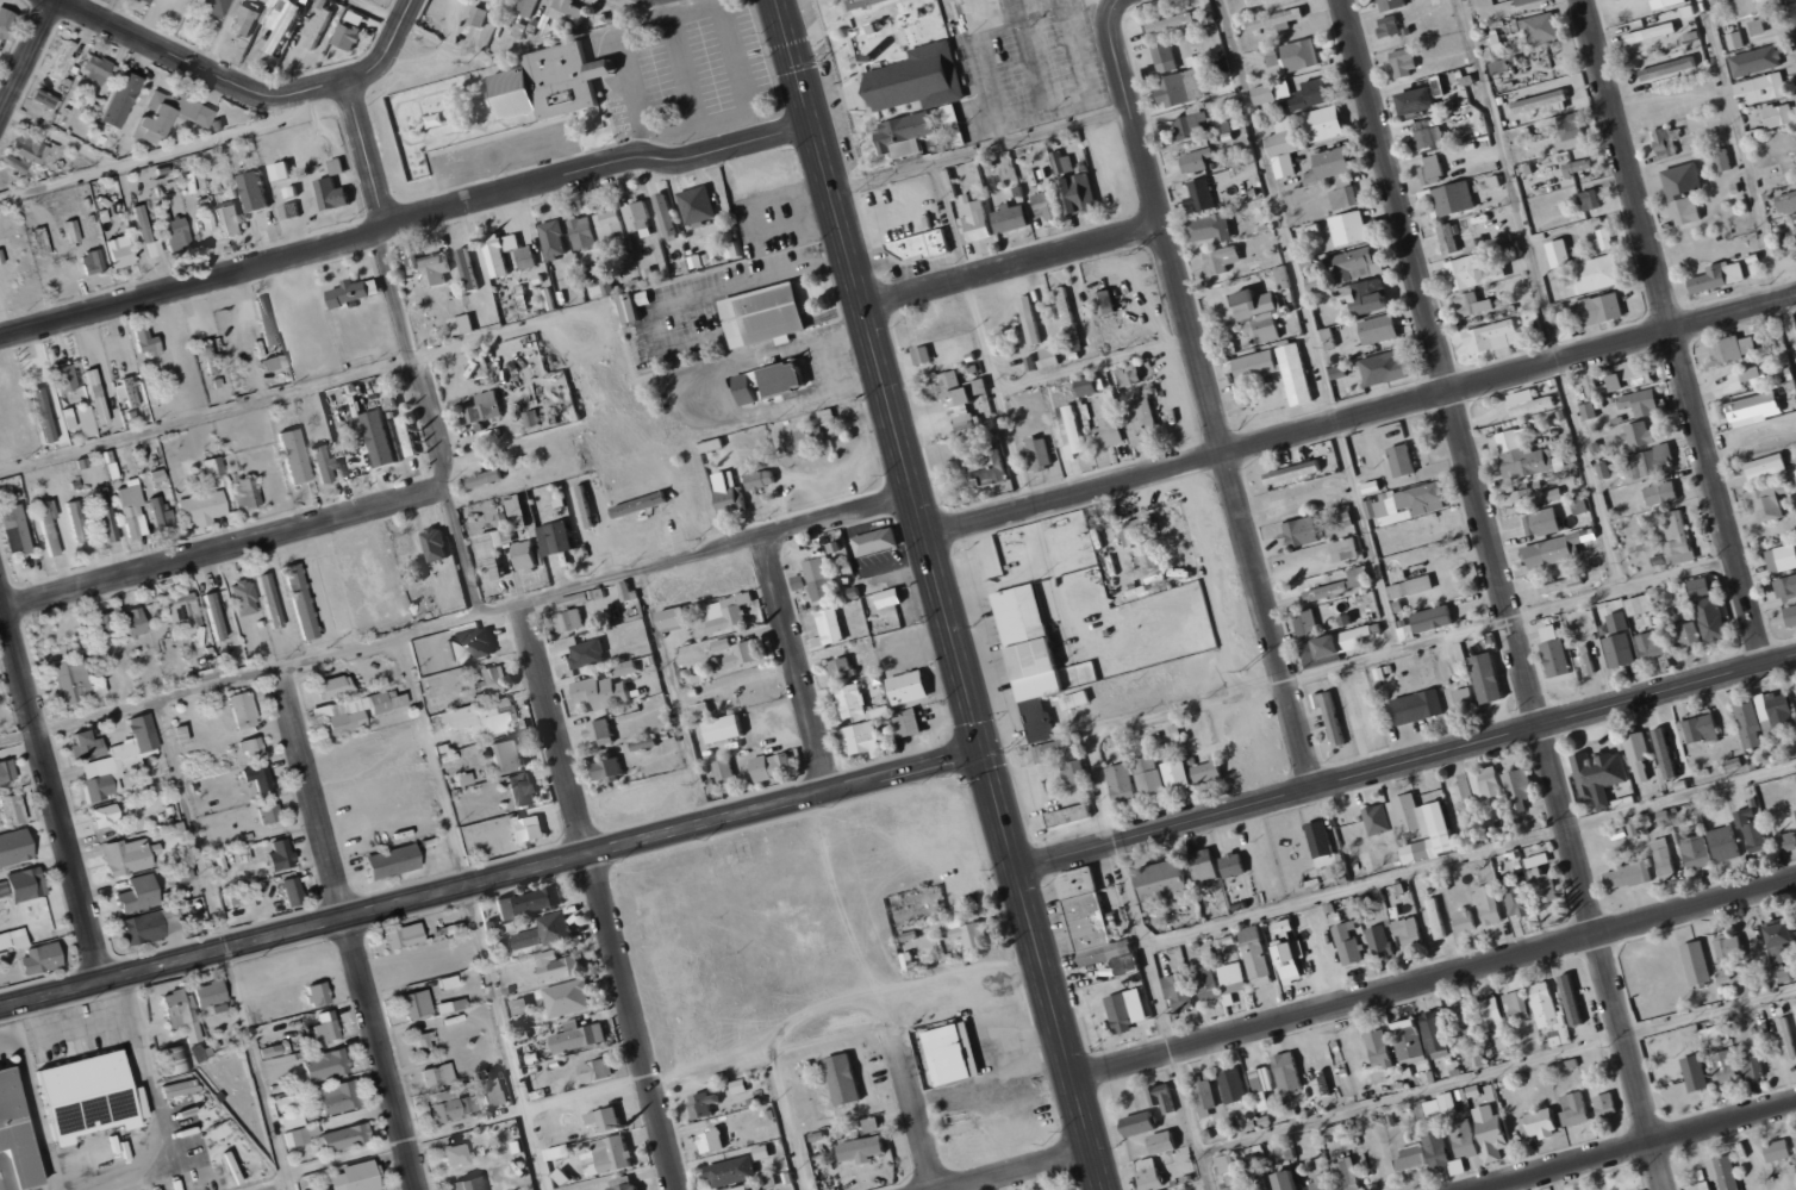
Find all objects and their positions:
building: (148, 0)
building: (1261, 1)
building: (1526, 1)
building: (1669, 2)
building: (860, 4)
building: (1392, 4)
building: (213, 6)
building: (528, 6)
building: (1752, 6)
building: (570, 12)
building: (479, 15)
building: (357, 18)
road: (1114, 19)
building: (1278, 19)
building: (245, 20)
building: (6, 21)
building: (1173, 21)
building: (280, 23)
building: (1390, 25)
building: (1759, 26)
building: (1541, 27)
building: (320, 29)
building: (1651, 32)
building: (348, 37)
building: (1735, 41)
road: (166, 48)
building: (1302, 54)
building: (1165, 56)
road: (29, 60)
building: (63, 60)
building: (1405, 61)
building: (1757, 61)
building: (1501, 67)
building: (1670, 68)
building: (96, 69)
road: (735, 70)
road: (686, 76)
road: (363, 77)
building: (919, 79)
building: (554, 83)
building: (1760, 87)
building: (1183, 88)
building: (1271, 92)
building: (1314, 93)
building: (44, 99)
building: (121, 99)
building: (1417, 100)
building: (1544, 101)
building: (1778, 114)
building: (169, 116)
building: (1324, 123)
building: (955, 125)
building: (1190, 125)
building: (1571, 131)
building: (906, 133)
building: (1430, 138)
building: (1665, 142)
building: (29, 148)
building: (1284, 148)
road: (368, 155)
building: (1197, 160)
building: (1723, 160)
building: (1064, 162)
building: (15, 163)
building: (1330, 164)
building: (1579, 167)
building: (337, 168)
building: (1433, 169)
building: (281, 172)
building: (255, 192)
building: (1684, 192)
building: (1081, 193)
building: (1201, 193)
building: (1345, 194)
building: (332, 195)
building: (1453, 199)
building: (1591, 200)
building: (1788, 203)
building: (1049, 204)
building: (698, 205)
building: (205, 210)
building: (289, 211)
building: (665, 213)
building: (1012, 217)
building: (638, 219)
building: (975, 219)
road: (406, 220)
building: (230, 222)
building: (610, 223)
building: (1211, 228)
building: (1349, 228)
building: (175, 231)
building: (584, 233)
building: (146, 235)
building: (1452, 238)
building: (1605, 238)
building: (554, 239)
building: (921, 245)
building: (120, 251)
building: (500, 251)
power tower: (1131, 253)
building: (1560, 253)
building: (526, 257)
building: (1223, 258)
building: (92, 262)
building: (1357, 263)
road: (1014, 267)
building: (431, 268)
building: (466, 269)
building: (1470, 270)
building: (1598, 274)
building: (1721, 276)
building: (591, 287)
building: (607, 287)
building: (353, 293)
building: (1366, 297)
building: (1106, 303)
building: (1474, 304)
building: (636, 305)
building: (1598, 310)
building: (1067, 311)
building: (767, 314)
building: (1259, 314)
building: (1031, 319)
building: (266, 320)
building: (1380, 329)
road: (1675, 331)
building: (1493, 336)
building: (1329, 337)
building: (146, 341)
building: (1734, 348)
building: (923, 355)
building: (1049, 356)
building: (210, 357)
building: (275, 361)
building: (1253, 365)
building: (1396, 366)
building: (1339, 372)
building: (1371, 372)
building: (1295, 373)
building: (1130, 374)
building: (1634, 374)
building: (64, 376)
building: (239, 376)
building: (785, 378)
building: (1750, 378)
building: (1091, 385)
building: (749, 386)
building: (1594, 386)
building: (126, 391)
building: (96, 395)
building: (964, 399)
building: (1530, 401)
building: (1642, 403)
building: (486, 407)
building: (1757, 409)
building: (1589, 411)
building: (46, 413)
road: (1215, 415)
building: (829, 416)
road: (1360, 416)
building: (532, 418)
building: (1146, 419)
road: (429, 423)
building: (1073, 432)
building: (1109, 432)
building: (407, 435)
building: (1640, 435)
building: (812, 437)
building: (380, 438)
building: (1037, 454)
building: (294, 455)
building: (981, 455)
building: (1522, 456)
building: (1403, 460)
building: (324, 463)
building: (1650, 463)
building: (213, 467)
building: (1767, 467)
building: (1295, 472)
building: (485, 478)
building: (762, 479)
building: (245, 492)
building: (729, 492)
building: (1661, 492)
building: (1535, 497)
building: (1769, 500)
building: (1408, 503)
building: (585, 506)
building: (202, 507)
building: (131, 509)
building: (517, 511)
building: (105, 513)
building: (160, 515)
building: (76, 521)
building: (1542, 523)
building: (48, 528)
building: (14, 529)
building: (1303, 531)
building: (1140, 532)
building: (556, 537)
building: (1678, 538)
building: (877, 542)
building: (435, 544)
building: (495, 548)
building: (1345, 549)
road: (223, 550)
road: (718, 550)
building: (1549, 552)
building: (526, 556)
building: (1150, 557)
building: (1782, 559)
building: (819, 579)
building: (800, 582)
building: (1343, 585)
building: (1701, 586)
building: (1411, 587)
building: (628, 591)
road: (942, 594)
road: (1507, 594)
building: (244, 597)
building: (891, 597)
building: (272, 600)
building: (301, 602)
building: (1642, 605)
building: (183, 608)
road: (501, 610)
building: (731, 612)
building: (569, 615)
building: (214, 616)
building: (1791, 616)
building: (1711, 618)
building: (675, 619)
building: (1434, 619)
building: (133, 622)
building: (104, 623)
building: (1307, 623)
building: (829, 629)
building: (1690, 634)
building: (1617, 641)
building: (1030, 642)
building: (721, 644)
building: (1333, 646)
building: (1555, 650)
building: (588, 654)
building: (743, 654)
building: (1586, 661)
road: (798, 666)
building: (625, 668)
building: (841, 669)
power tower: (1243, 671)
road: (241, 677)
building: (1489, 678)
building: (493, 680)
building: (75, 681)
building: (336, 686)
building: (910, 687)
building: (603, 692)
building: (1464, 698)
building: (1077, 699)
building: (858, 703)
building: (1417, 706)
building: (243, 709)
building: (357, 710)
building: (1366, 710)
building: (1775, 714)
building: (479, 717)
building: (1333, 717)
building: (1040, 719)
road: (1135, 719)
building: (910, 723)
building: (1748, 724)
building: (725, 729)
building: (1702, 729)
building: (599, 730)
building: (866, 739)
building: (644, 743)
building: (87, 744)
building: (252, 747)
building: (1052, 749)
building: (1665, 753)
building: (509, 754)
traffic signals: (985, 754)
building: (1639, 758)
building: (118, 759)
road: (1405, 762)
building: (772, 766)
building: (609, 767)
building: (724, 770)
building: (6, 772)
building: (1075, 772)
building: (1208, 772)
road: (909, 773)
building: (1177, 774)
building: (1149, 775)
building: (1598, 775)
building: (260, 777)
building: (1122, 783)
road: (52, 786)
building: (1520, 789)
building: (522, 790)
building: (1476, 792)
building: (13, 809)
building: (269, 814)
building: (105, 815)
building: (1070, 816)
building: (1378, 820)
building: (528, 828)
building: (1424, 828)
building: (1751, 829)
building: (1785, 842)
building: (1322, 843)
building: (1725, 843)
building: (15, 847)
building: (1697, 852)
building: (281, 854)
building: (129, 855)
building: (1665, 859)
building: (1538, 860)
building: (393, 861)
building: (1205, 865)
building: (1234, 865)
building: (177, 872)
building: (1628, 876)
building: (1165, 881)
building: (26, 884)
building: (1544, 884)
building: (4, 889)
building: (292, 891)
building: (138, 893)
building: (239, 895)
road: (598, 896)
building: (1519, 899)
road: (416, 901)
building: (529, 902)
building: (1489, 905)
building: (1090, 918)
building: (1436, 918)
building: (1466, 921)
building: (150, 924)
building: (1285, 927)
road: (347, 928)
building: (544, 932)
building: (1409, 932)
building: (969, 934)
building: (405, 935)
building: (13, 939)
building: (1782, 941)
building: (1379, 942)
building: (1348, 943)
building: (1729, 948)
building: (1256, 957)
building: (42, 958)
building: (1292, 960)
building: (1697, 964)
building: (1128, 965)
building: (556, 966)
building: (1723, 974)
building: (1234, 977)
road: (1434, 978)
building: (1208, 982)
building: (1180, 991)
building: (210, 993)
building: (319, 993)
building: (567, 997)
building: (1573, 1001)
building: (417, 1003)
building: (1517, 1005)
building: (181, 1013)
building: (1121, 1014)
building: (1549, 1014)
building: (1492, 1017)
building: (1461, 1022)
building: (326, 1027)
power tower: (1340, 1030)
building: (1435, 1034)
building: (579, 1036)
building: (1788, 1038)
road: (505, 1039)
building: (1409, 1040)
building: (423, 1041)
building: (1380, 1049)
building: (270, 1051)
building: (952, 1054)
building: (173, 1060)
building: (326, 1065)
building: (1752, 1066)
building: (1725, 1068)
building: (598, 1071)
building: (1289, 1072)
building: (1695, 1073)
building: (438, 1076)
building: (844, 1079)
building: (740, 1086)
building: (1234, 1086)
building: (1264, 1086)
building: (180, 1088)
building: (1205, 1094)
building: (493, 1095)
building: (92, 1097)
road: (151, 1097)
building: (339, 1097)
building: (1162, 1098)
building: (1447, 1102)
building: (1605, 1104)
building: (447, 1105)
building: (704, 1105)
road: (913, 1107)
building: (1574, 1109)
building: (289, 1110)
building: (1427, 1110)
building: (606, 1120)
building: (1140, 1123)
building: (1541, 1123)
building: (873, 1126)
building: (1492, 1133)
building: (300, 1135)
building: (347, 1136)
building: (15, 1138)
building: (1465, 1139)
building: (712, 1141)
building: (1164, 1142)
building: (1794, 1144)
road: (1636, 1147)
building: (863, 1149)
building: (1435, 1149)
building: (1772, 1149)
building: (762, 1152)
building: (559, 1153)
building: (456, 1154)
building: (609, 1157)
building: (1411, 1158)
road: (1018, 1170)
building: (1720, 1171)
building: (732, 1172)
building: (1230, 1172)
building: (1150, 1173)
building: (1346, 1175)
building: (357, 1177)
building: (1289, 1180)
building: (1261, 1182)
building: (1320, 1183)
building: (470, 1184)
building: (623, 1184)
building: (1708, 1185)
park: (260, 1186)
building: (749, 1188)
building: (319, 1189)

